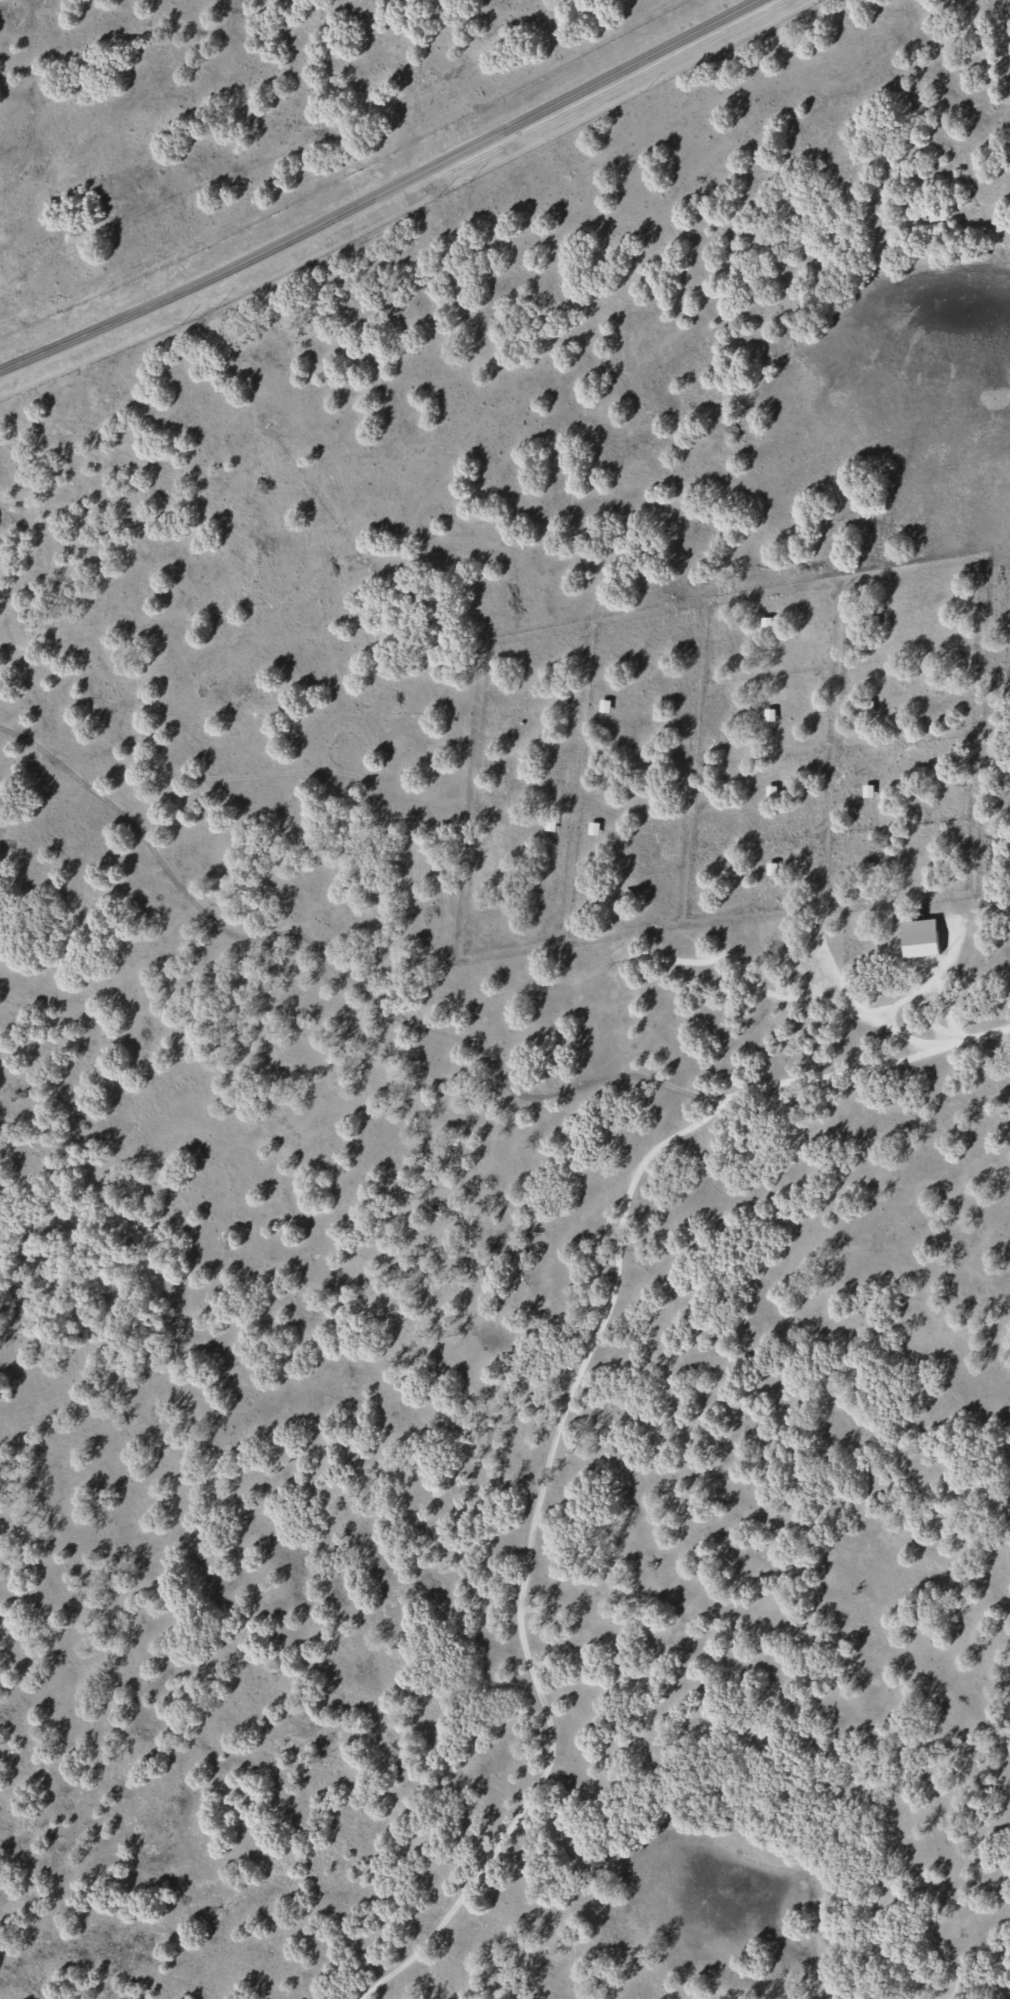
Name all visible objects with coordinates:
road: (390, 197)
road: (758, 1087)

